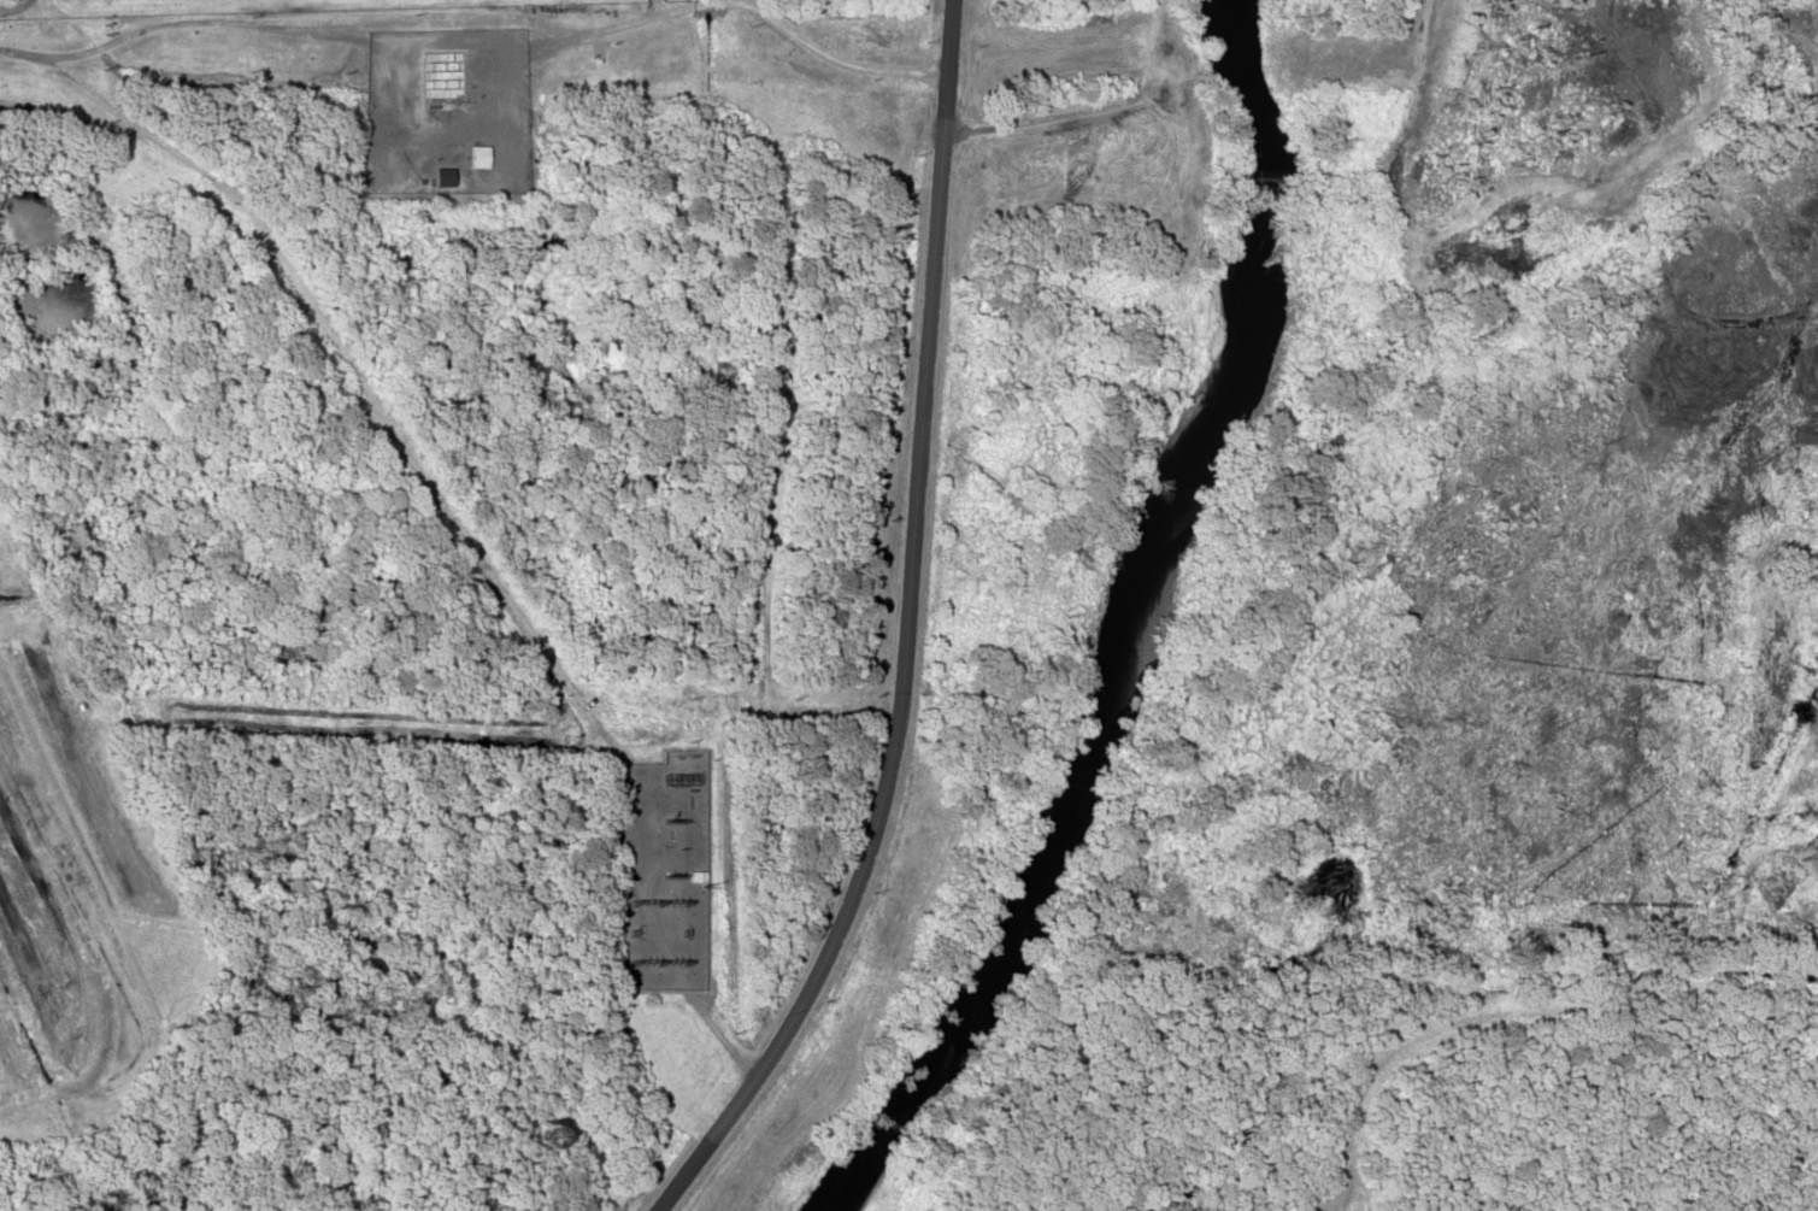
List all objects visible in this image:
wastewater plant: (187, 5)
power substation: (446, 110)
building: (1, 327)
road: (894, 635)
power substation: (663, 871)

